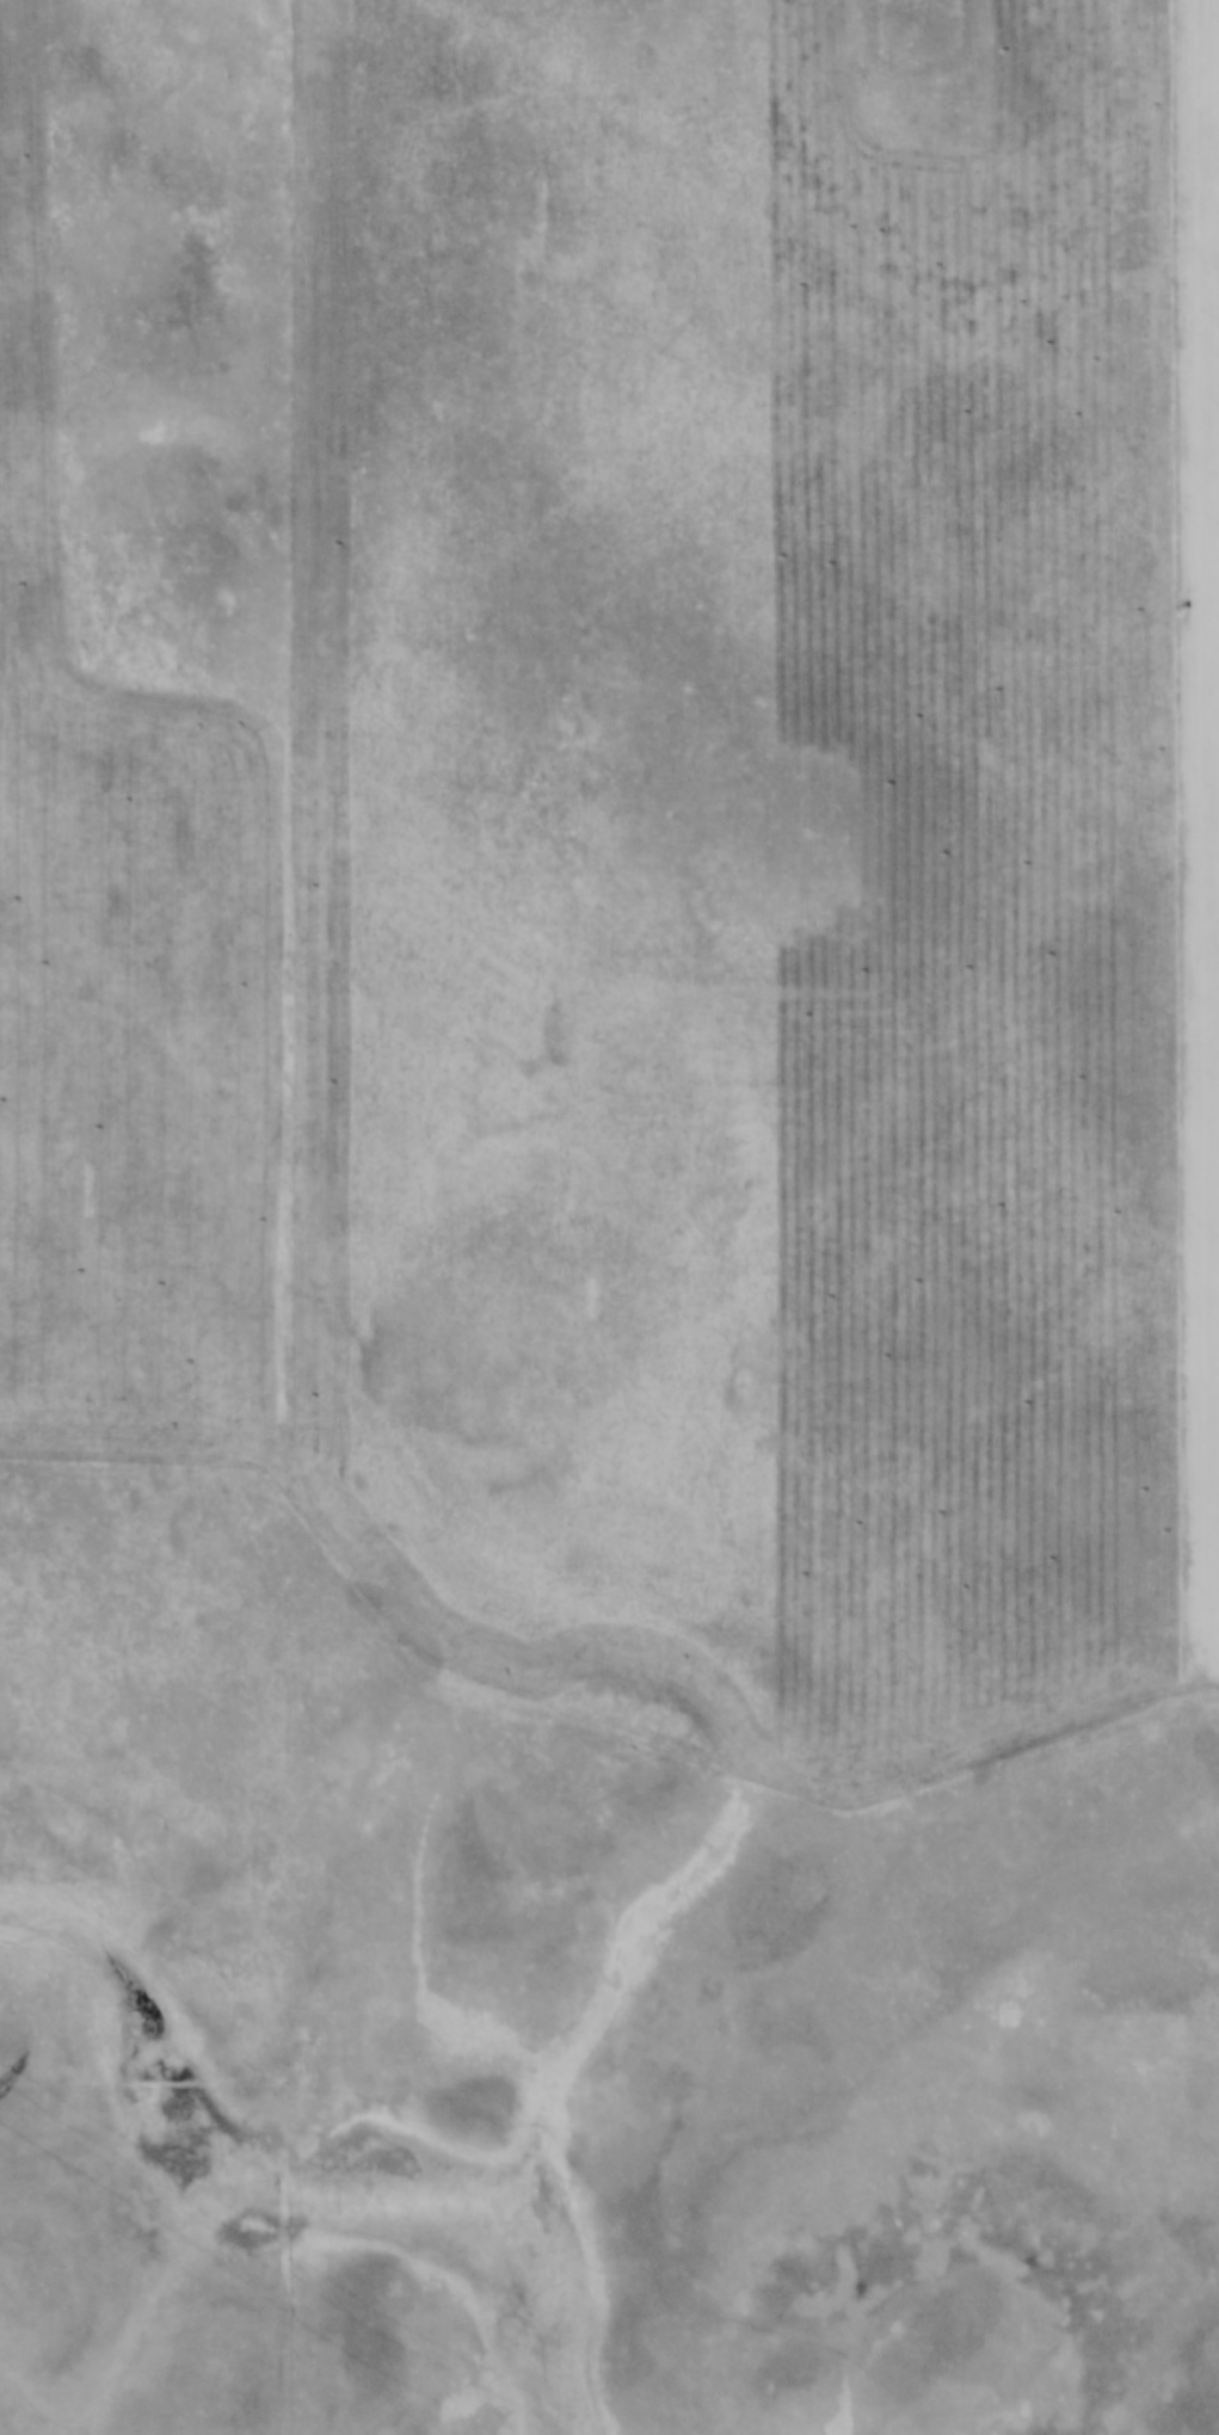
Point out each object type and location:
building: (940, 655)
road: (682, 1749)

